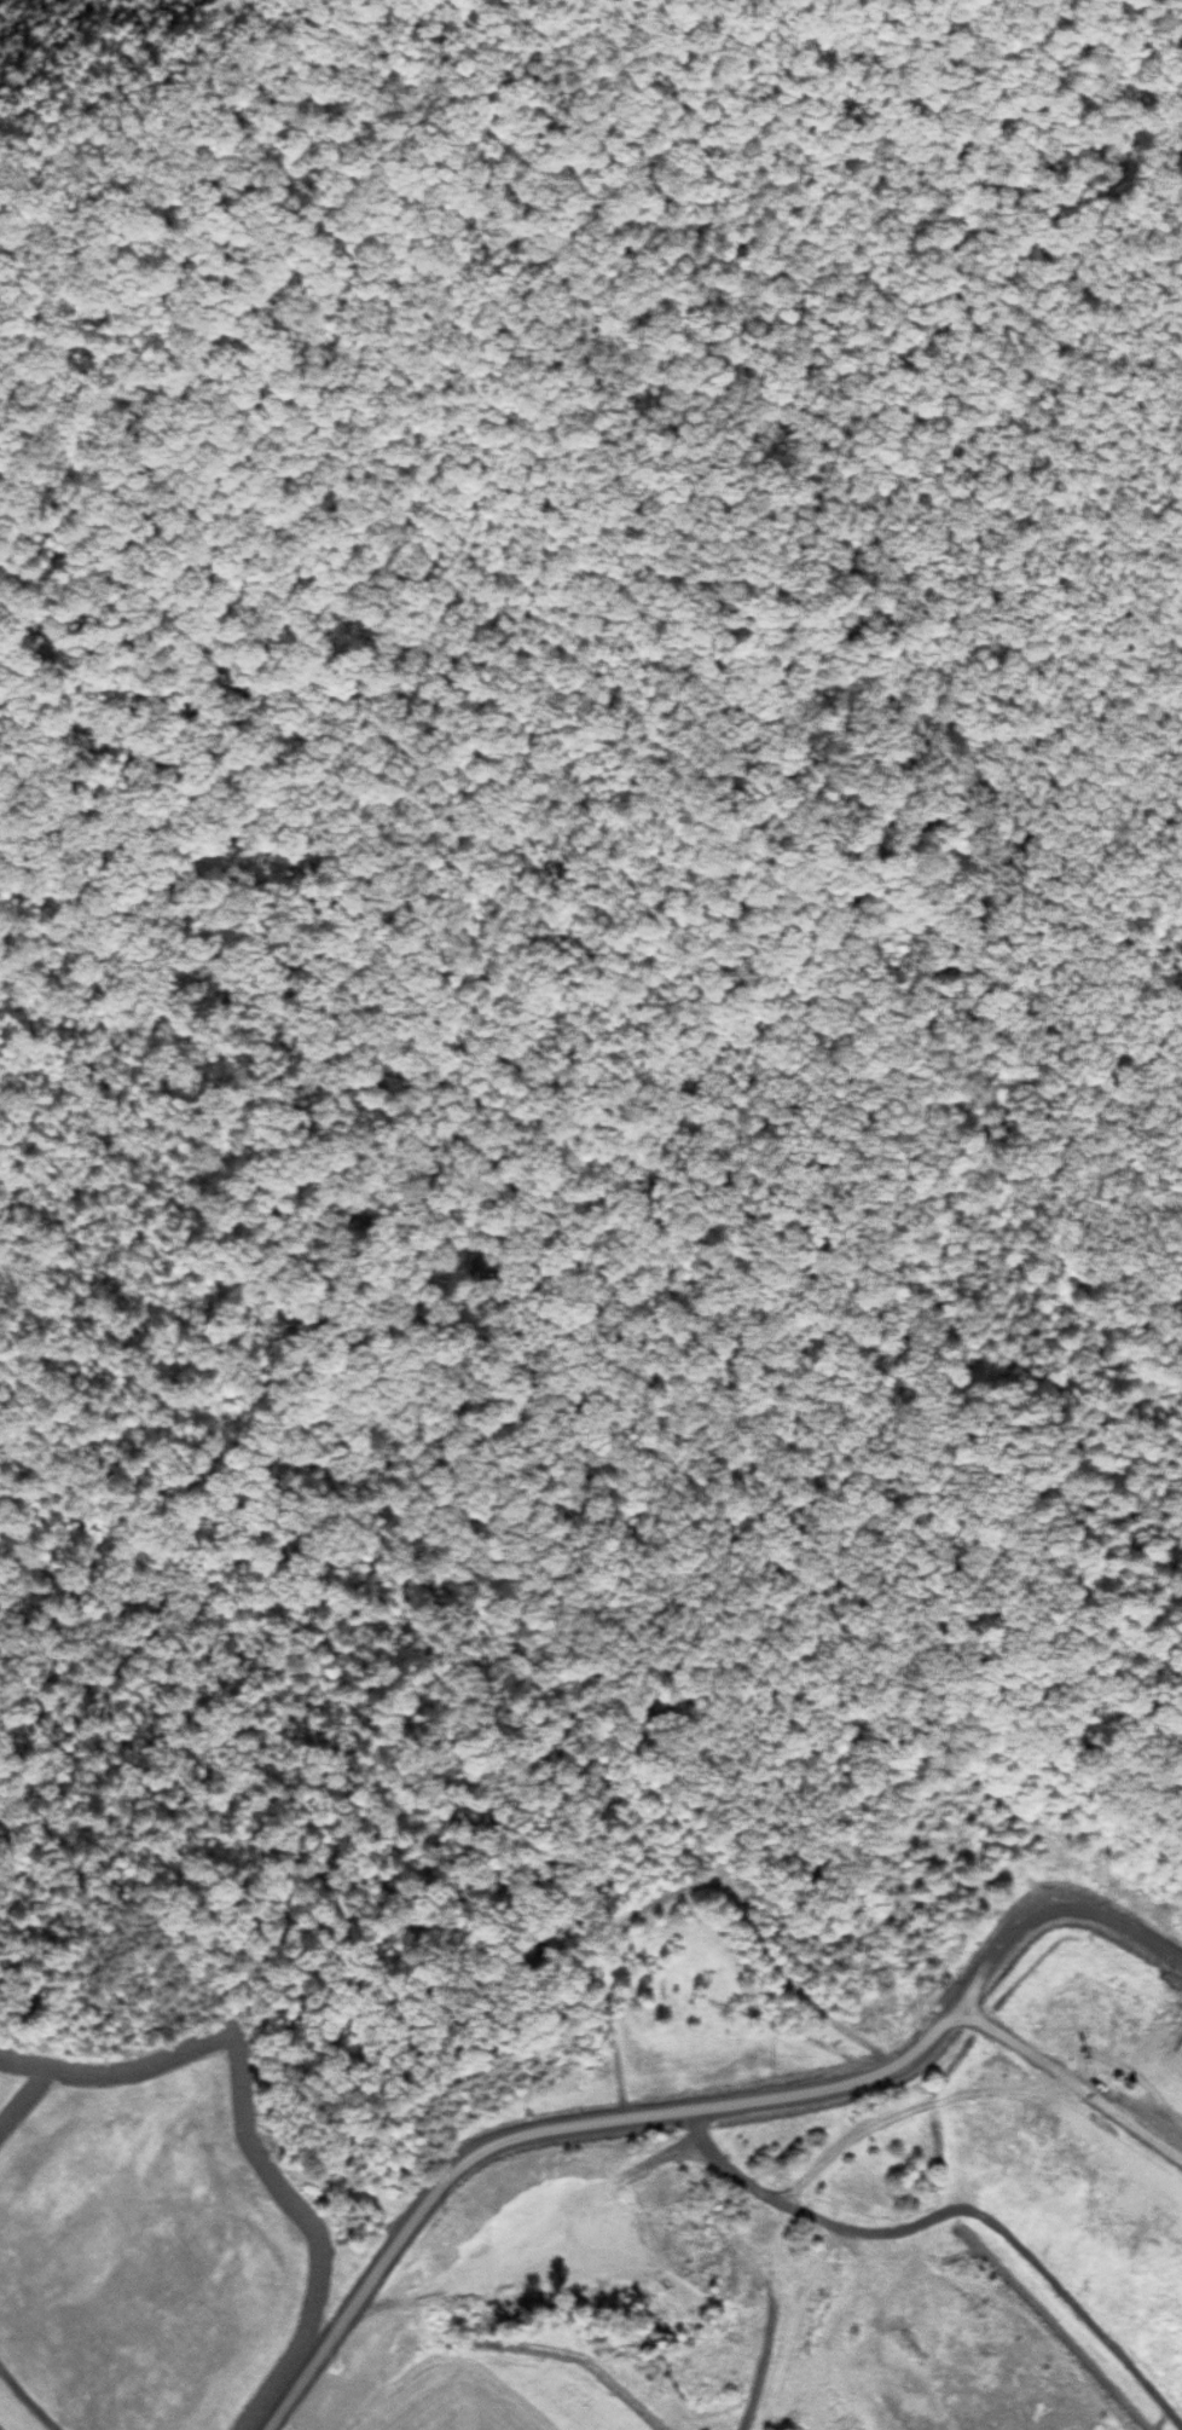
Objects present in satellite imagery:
road: (331, 149)
road: (595, 1054)
road: (695, 2106)

